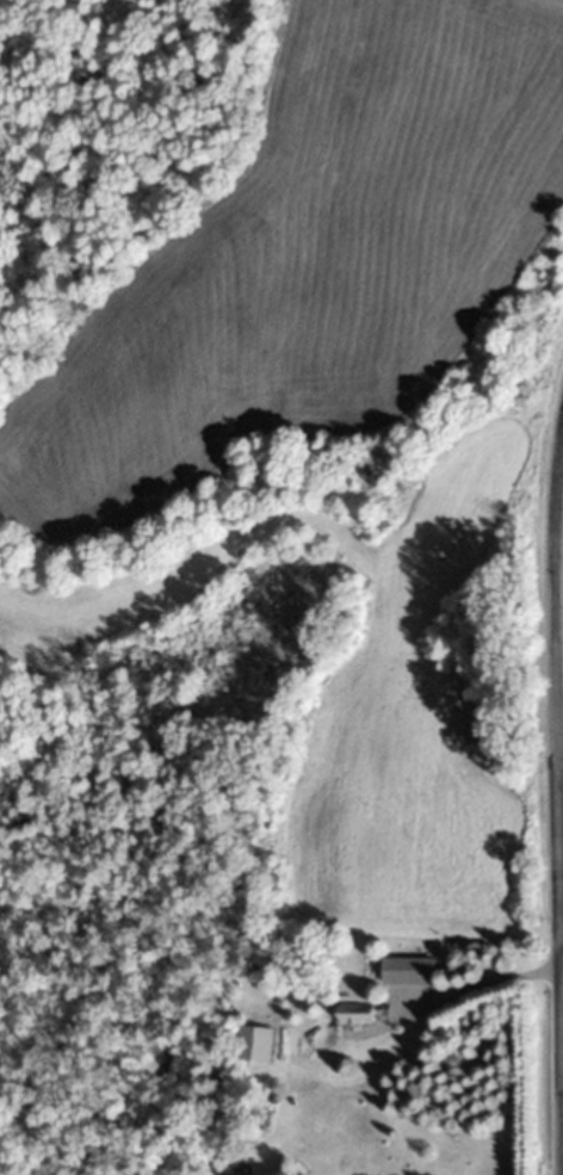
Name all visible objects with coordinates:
road: (556, 794)
road: (561, 936)
building: (407, 969)
road: (475, 987)
building: (352, 1012)
building: (252, 1043)
building: (253, 1117)

